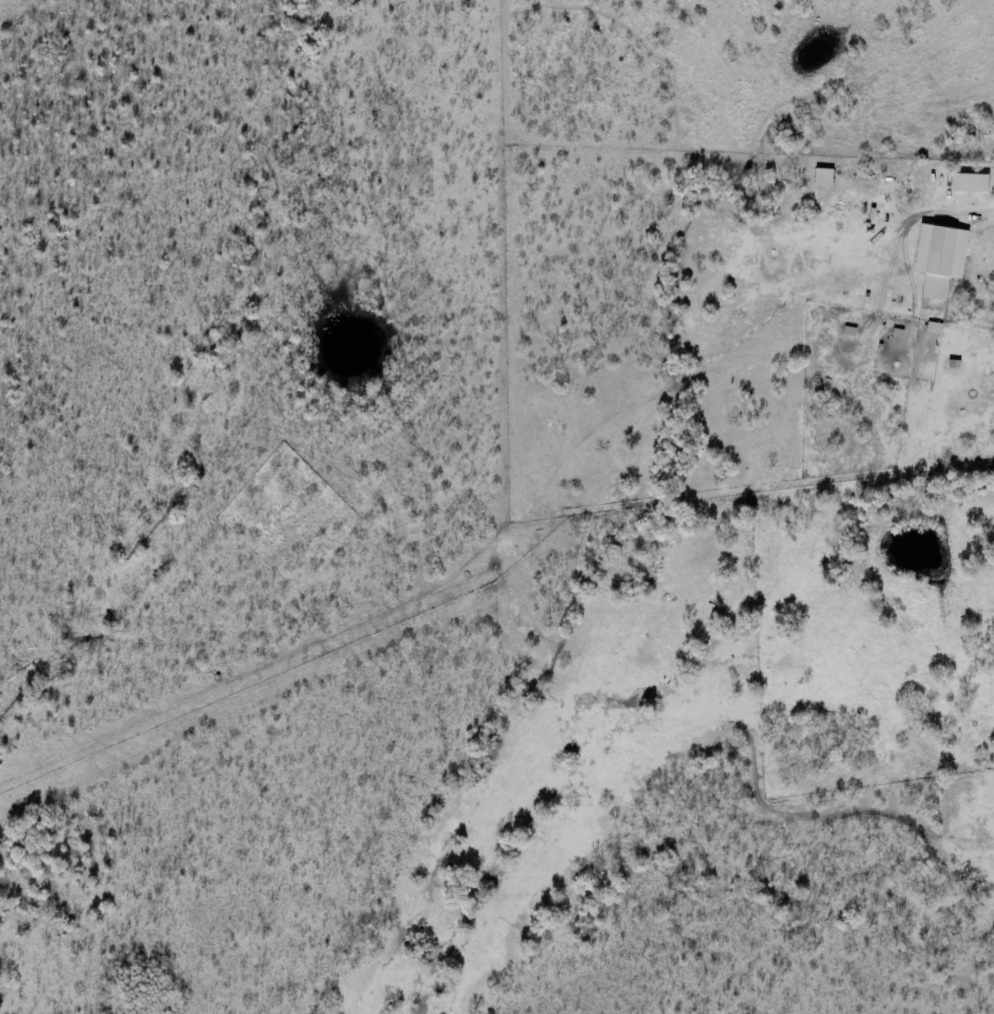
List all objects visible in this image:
building: (972, 183)
building: (942, 258)
building: (936, 328)

